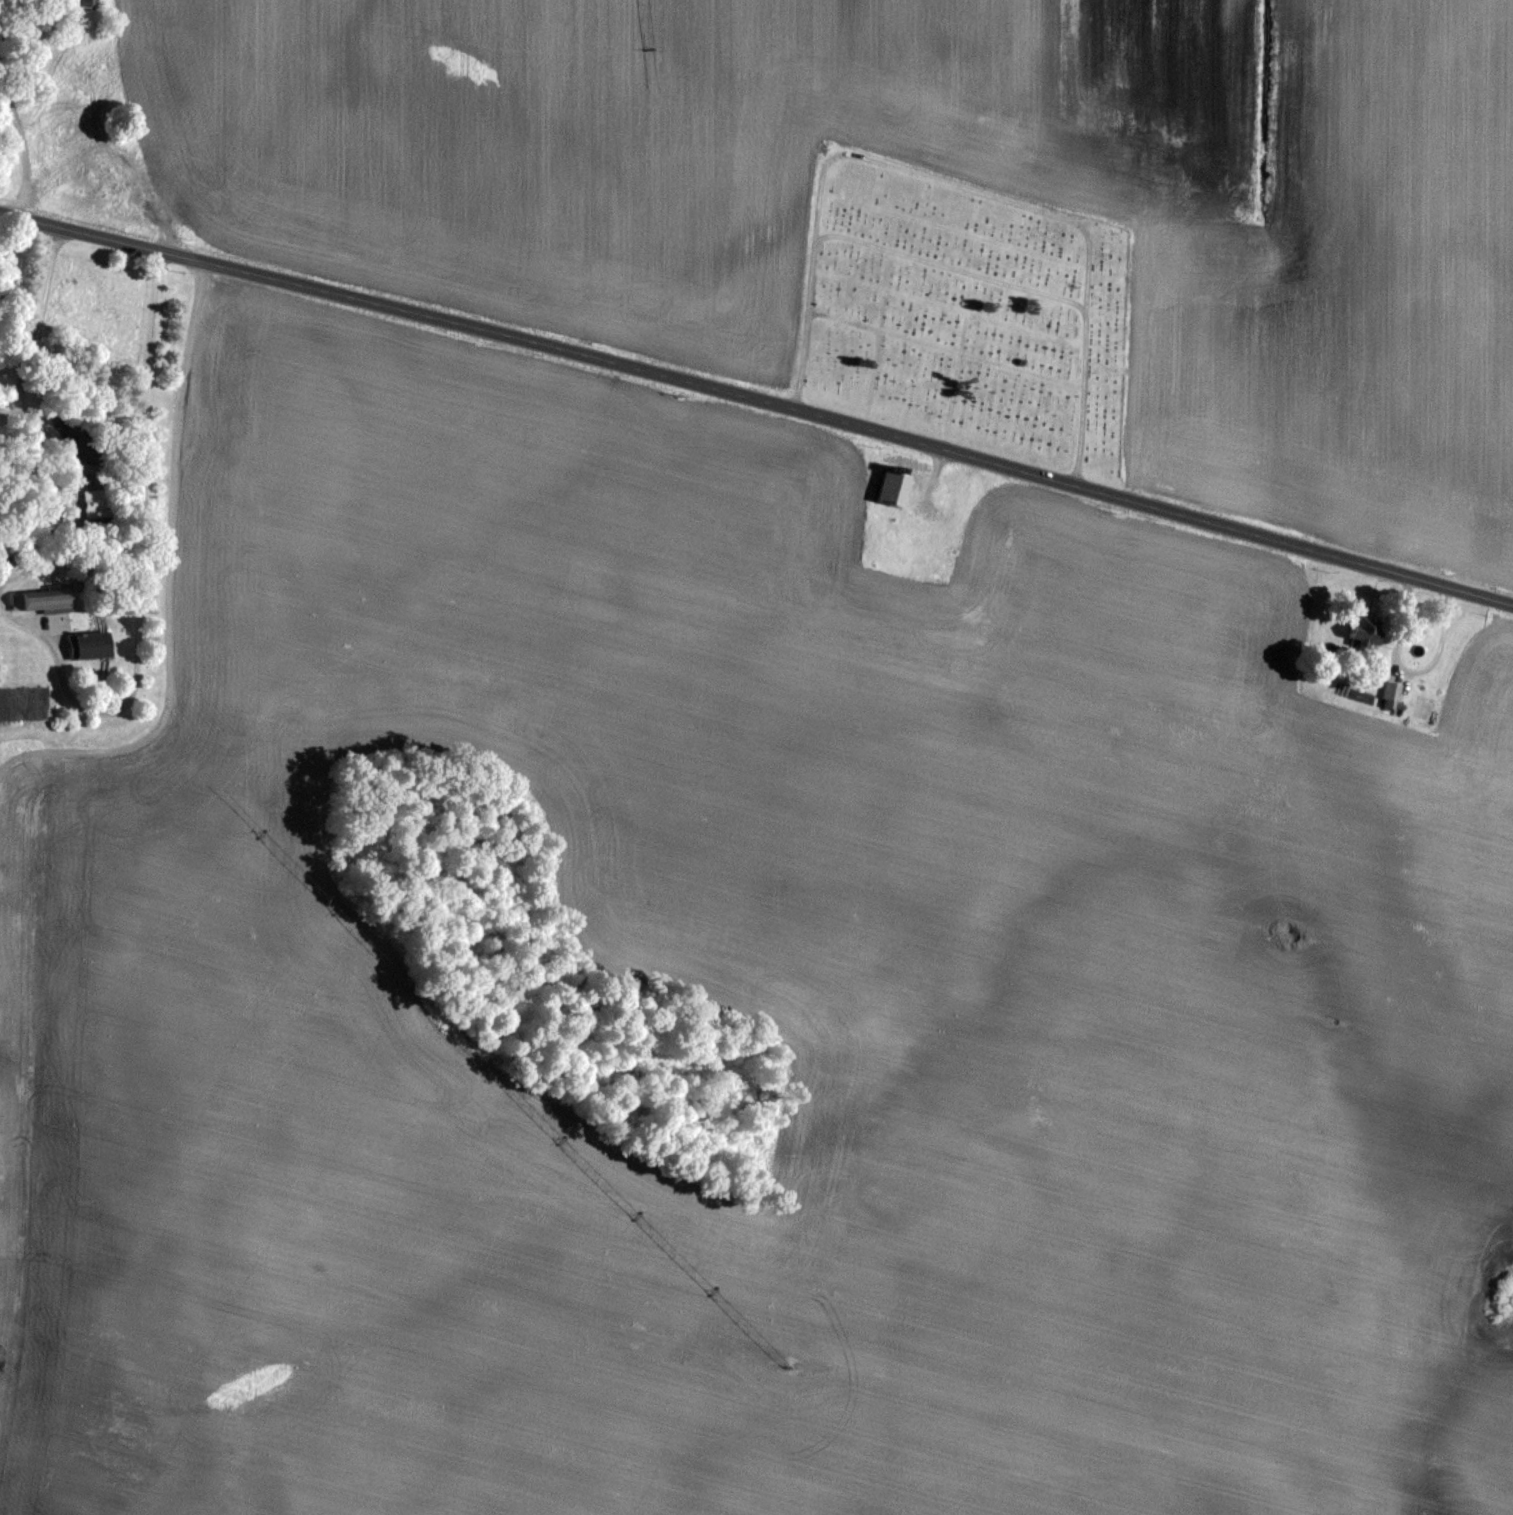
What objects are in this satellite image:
road: (1040, 209)
road: (872, 244)
park: (964, 312)
road: (939, 347)
road: (873, 368)
road: (956, 382)
road: (758, 398)
road: (883, 447)
building: (897, 459)
road: (897, 459)
road: (938, 462)
road: (915, 464)
building: (891, 486)
parking lot: (926, 497)
building: (44, 599)
building: (1369, 630)
building: (90, 643)
building: (1392, 693)

